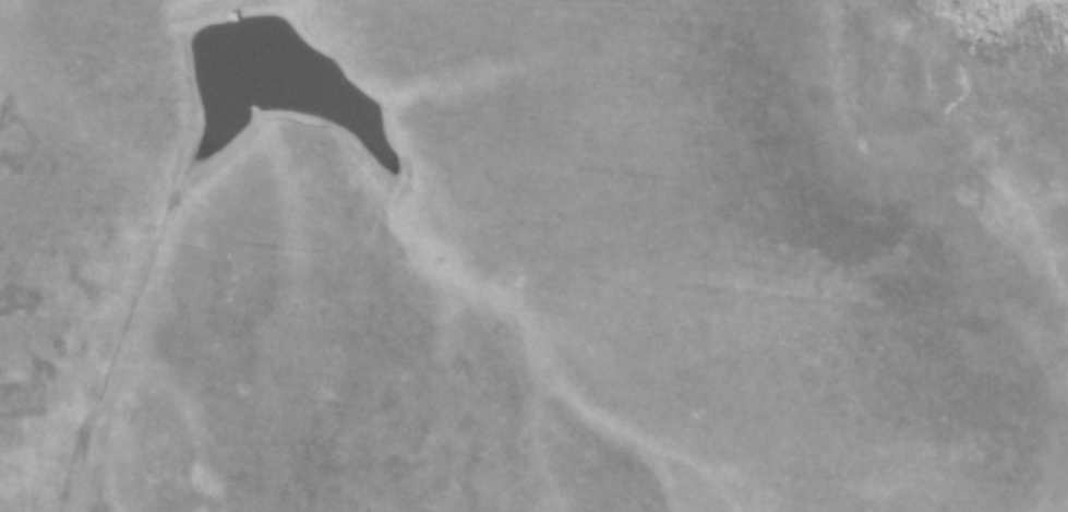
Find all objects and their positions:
dam: (180, 4)

